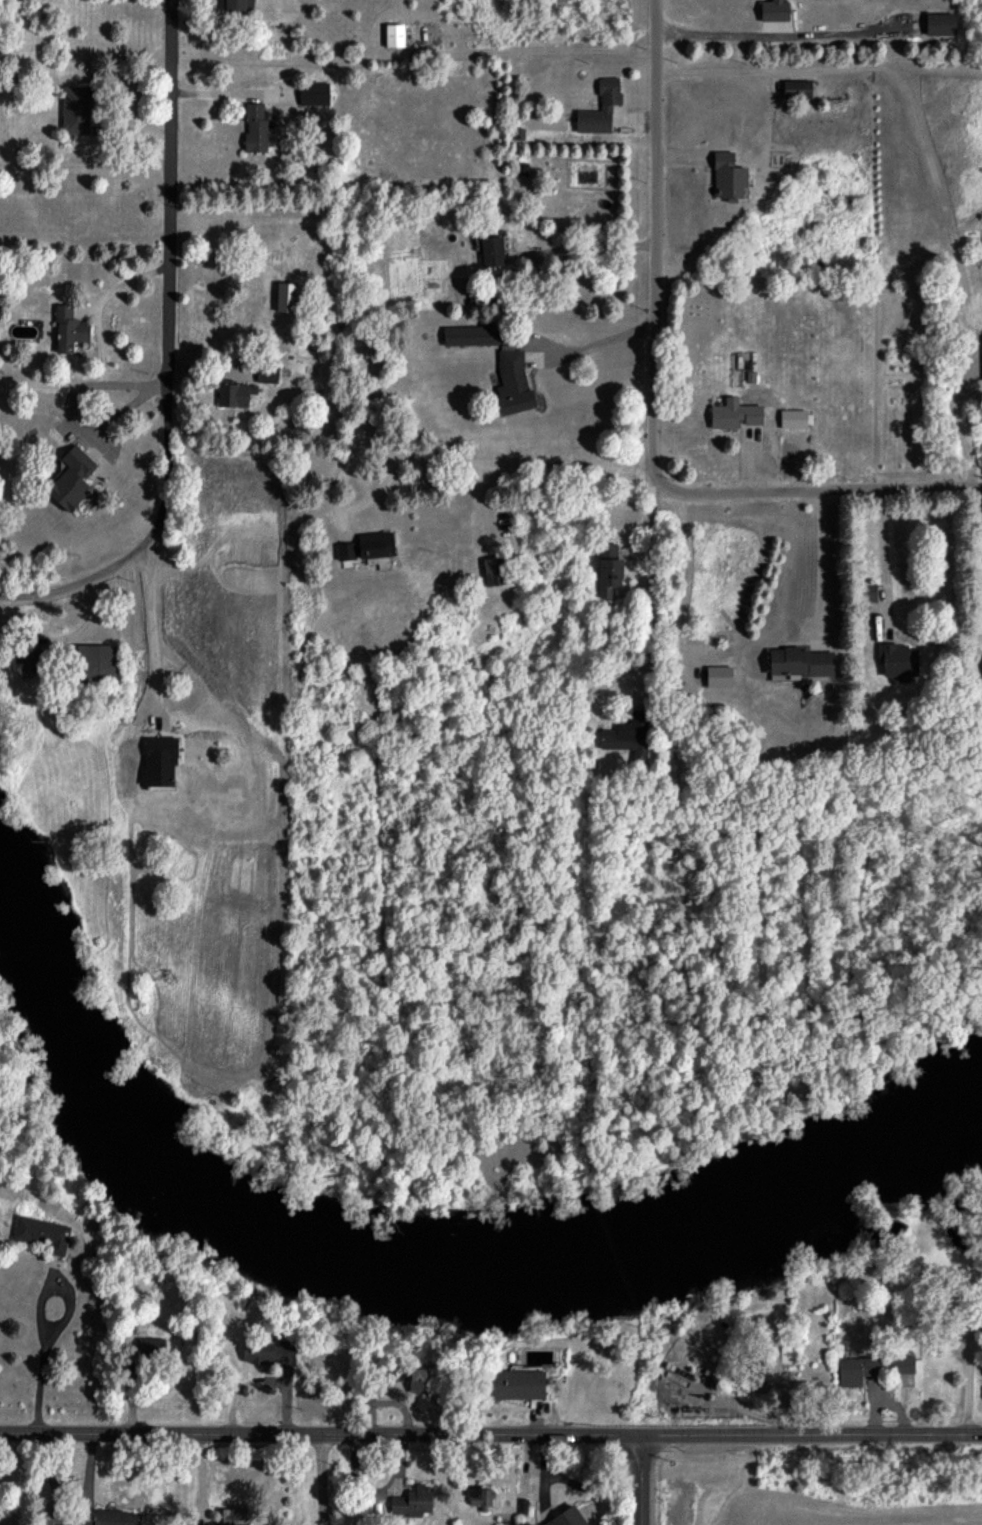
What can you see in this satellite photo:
building: (238, 5)
building: (774, 10)
building: (940, 23)
building: (394, 35)
road: (712, 35)
road: (743, 68)
building: (797, 89)
road: (228, 93)
building: (314, 93)
building: (600, 108)
building: (75, 109)
building: (256, 128)
road: (85, 165)
building: (728, 177)
road: (584, 247)
road: (654, 250)
building: (492, 251)
road: (102, 301)
building: (69, 329)
building: (470, 335)
building: (981, 339)
road: (598, 341)
road: (166, 354)
building: (267, 373)
road: (83, 379)
building: (513, 383)
building: (235, 394)
building: (725, 414)
building: (751, 417)
road: (959, 426)
road: (424, 458)
building: (71, 478)
road: (828, 493)
road: (980, 528)
building: (367, 546)
road: (883, 562)
road: (819, 563)
building: (609, 569)
building: (494, 570)
road: (650, 585)
building: (867, 592)
road: (149, 634)
building: (29, 658)
building: (898, 660)
building: (799, 662)
building: (98, 663)
building: (719, 676)
building: (630, 737)
building: (42, 1233)
river: (427, 1263)
road: (42, 1323)
building: (151, 1348)
building: (268, 1351)
building: (787, 1354)
building: (902, 1364)
building: (857, 1370)
building: (761, 1374)
building: (418, 1380)
building: (515, 1384)
road: (490, 1438)
road: (318, 1481)
road: (641, 1481)
building: (479, 1497)
building: (412, 1501)
building: (231, 1516)
building: (107, 1517)
building: (567, 1517)
building: (46, 1522)
building: (69, 1524)

